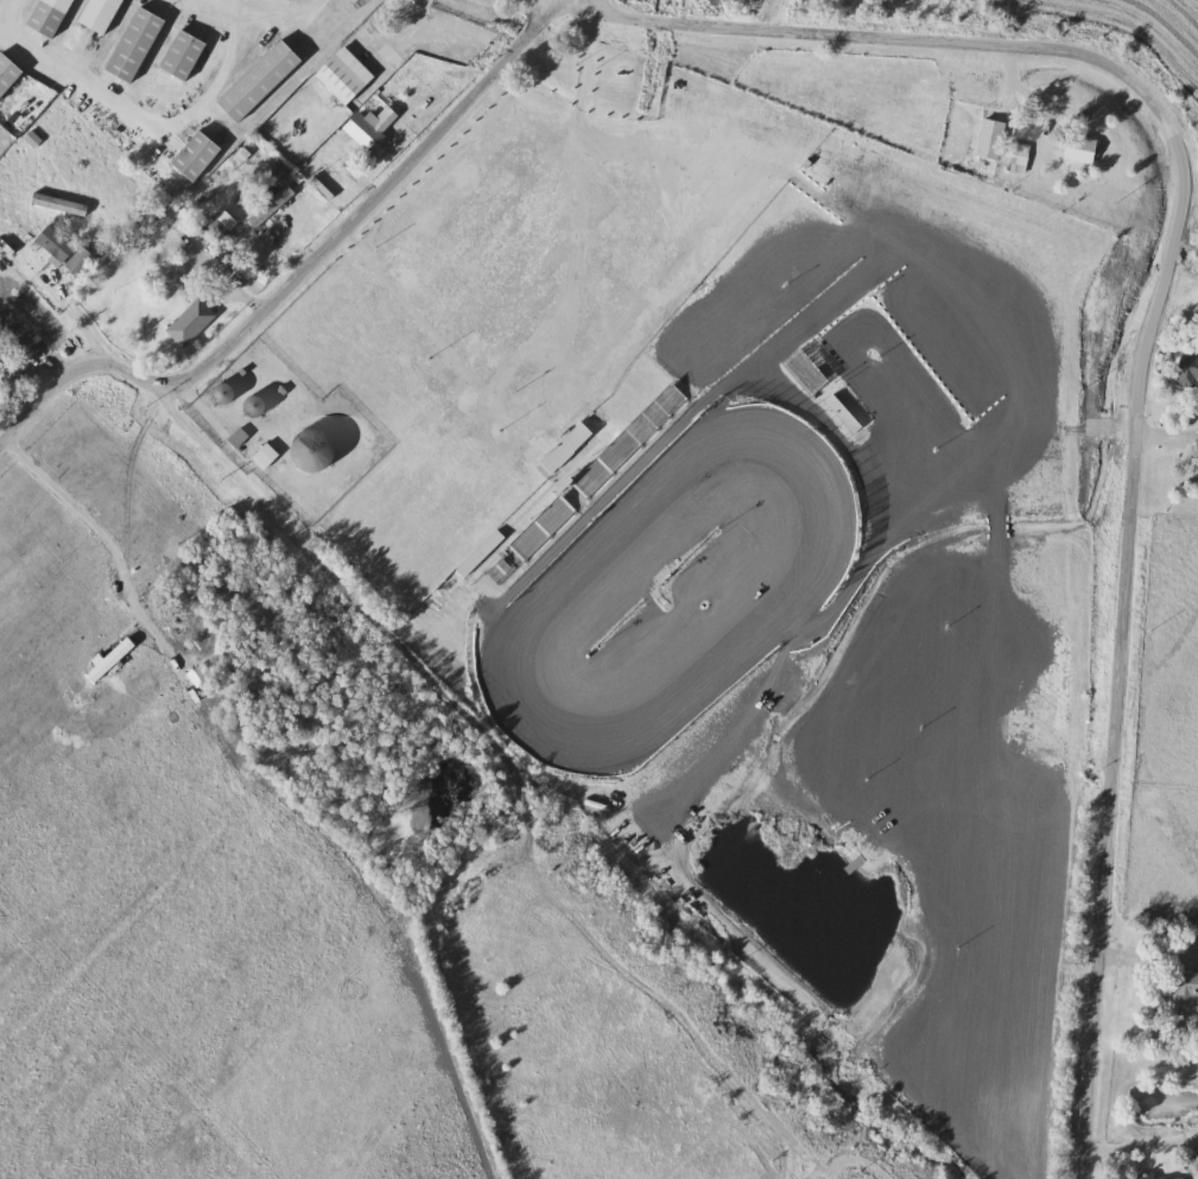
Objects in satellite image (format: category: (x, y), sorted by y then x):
road: (226, 2)
road: (285, 7)
road: (9, 15)
building: (102, 15)
building: (52, 17)
building: (137, 45)
building: (184, 56)
building: (8, 75)
building: (346, 76)
road: (1013, 76)
building: (261, 82)
road: (145, 114)
building: (372, 127)
road: (1185, 129)
building: (993, 139)
building: (1083, 148)
building: (198, 157)
building: (1020, 157)
road: (335, 166)
building: (64, 249)
road: (305, 267)
road: (226, 277)
building: (192, 323)
road: (1154, 328)
road: (36, 344)
building: (1190, 370)
building: (807, 372)
building: (227, 394)
building: (258, 406)
building: (845, 414)
road: (183, 416)
road: (1168, 433)
building: (318, 451)
building: (266, 457)
road: (82, 514)
building: (482, 552)
road: (1151, 950)
building: (1186, 995)
road: (1142, 1139)
road: (852, 1162)
building: (1147, 1177)

